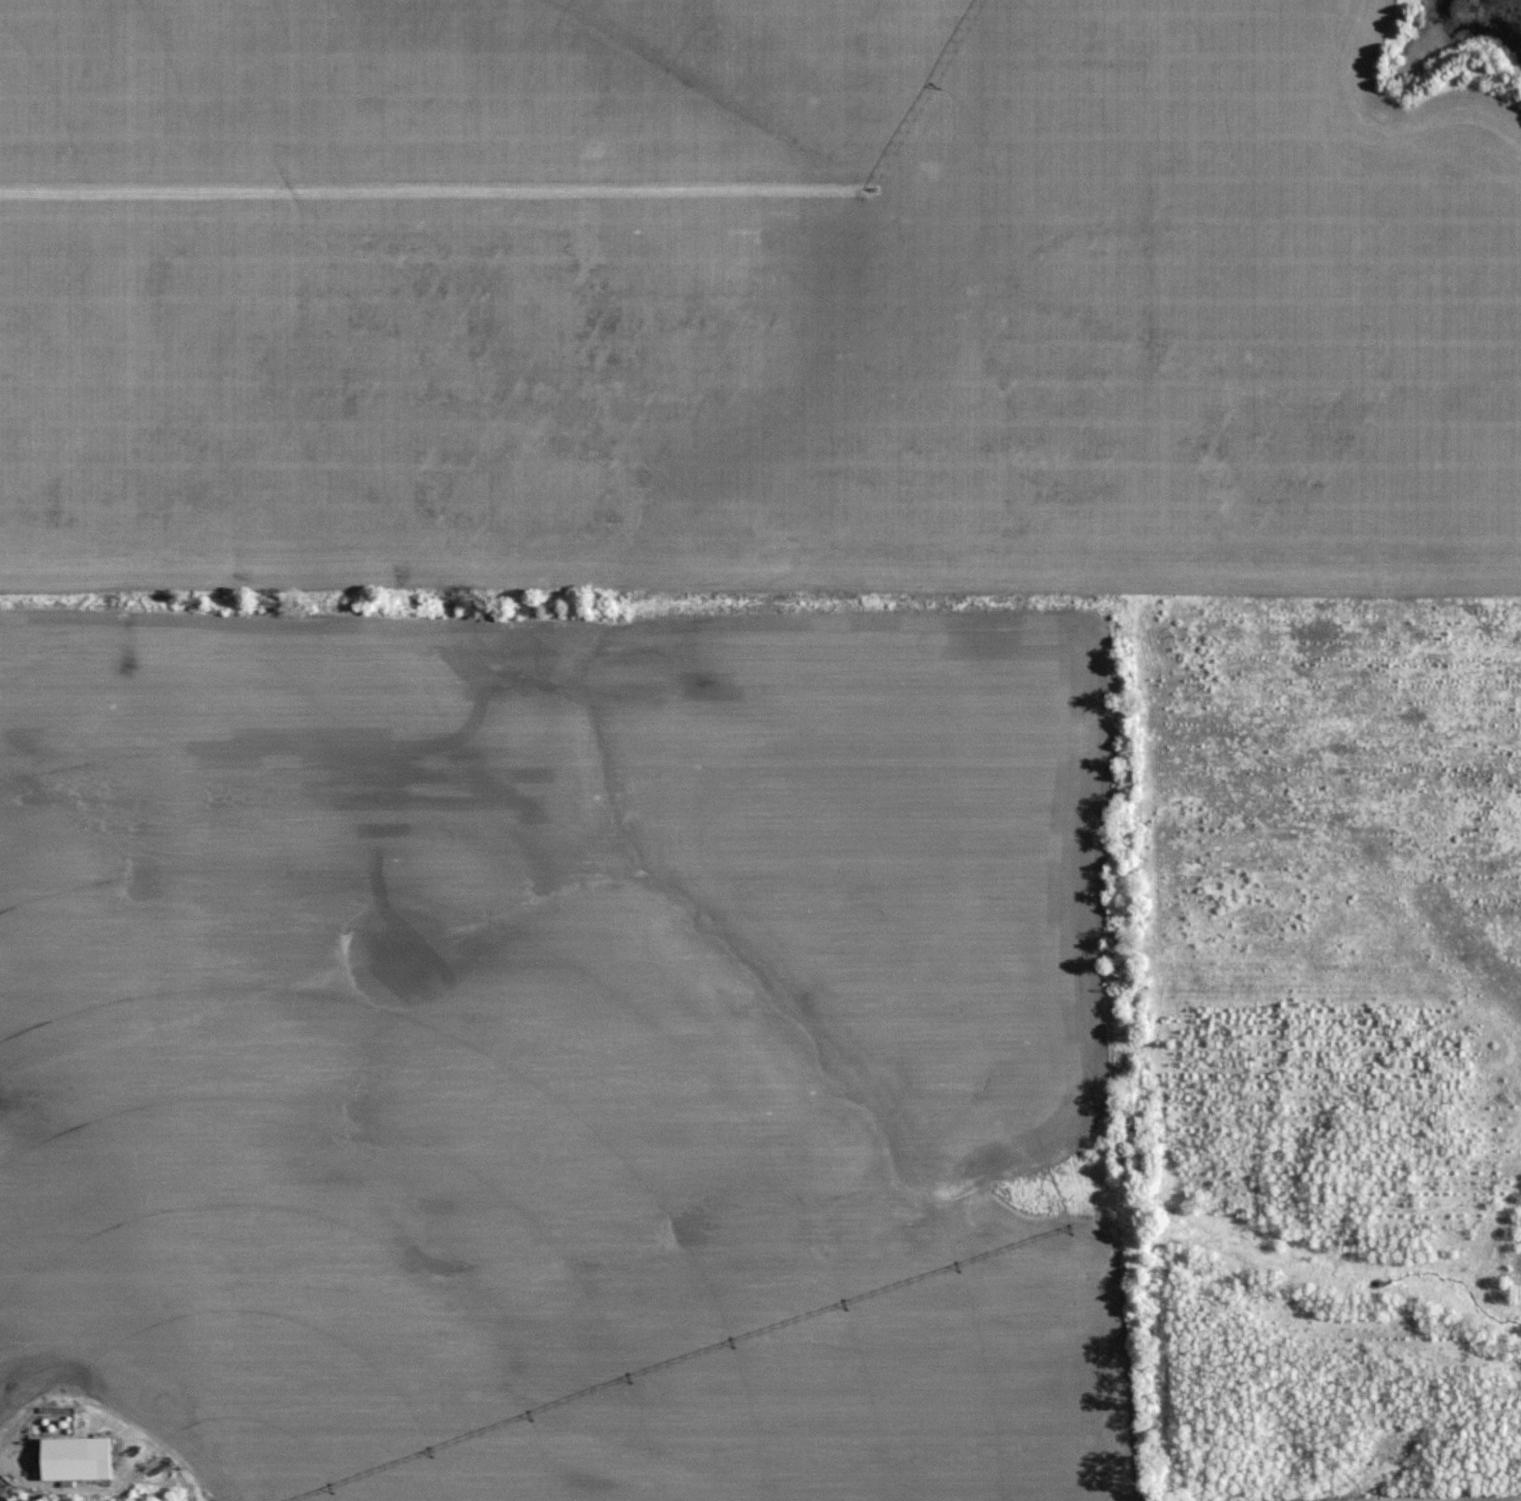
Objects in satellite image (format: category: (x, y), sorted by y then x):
crop: (750, 295)
crop: (569, 1038)

